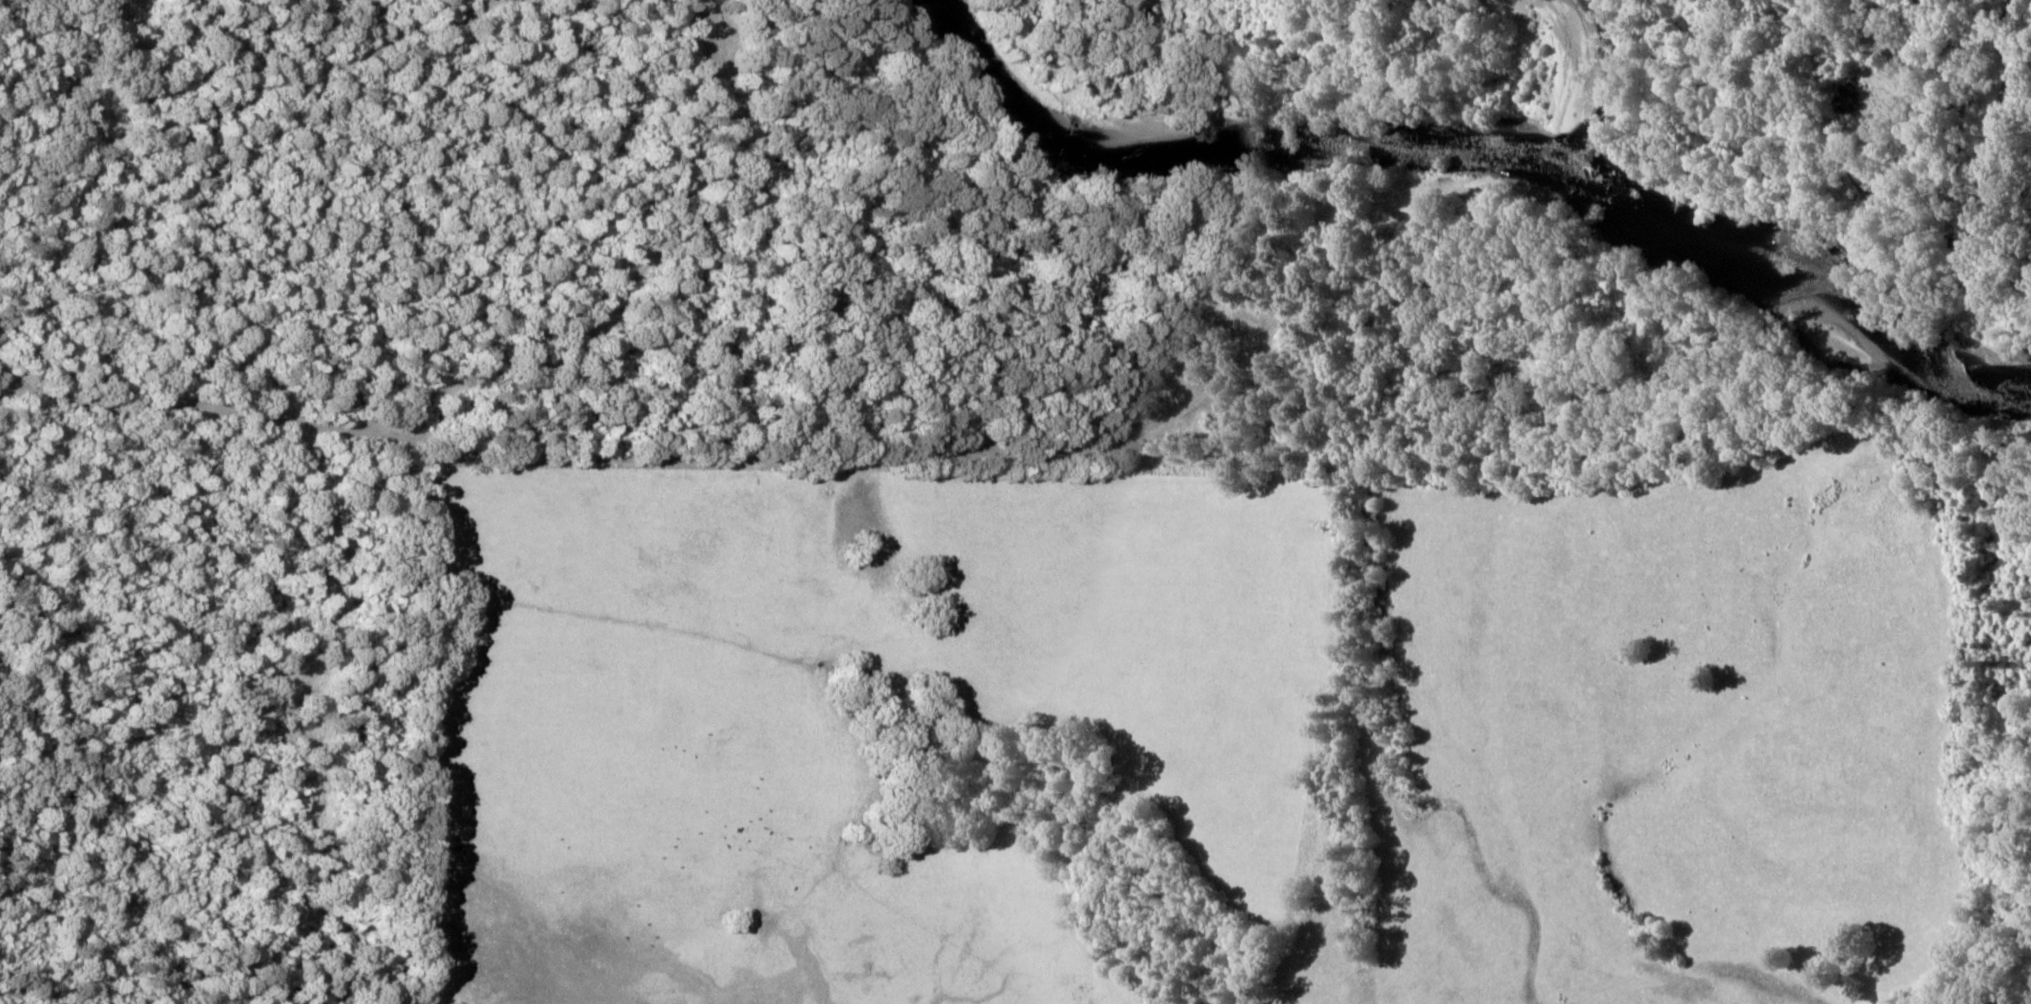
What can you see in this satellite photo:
road: (682, 519)

